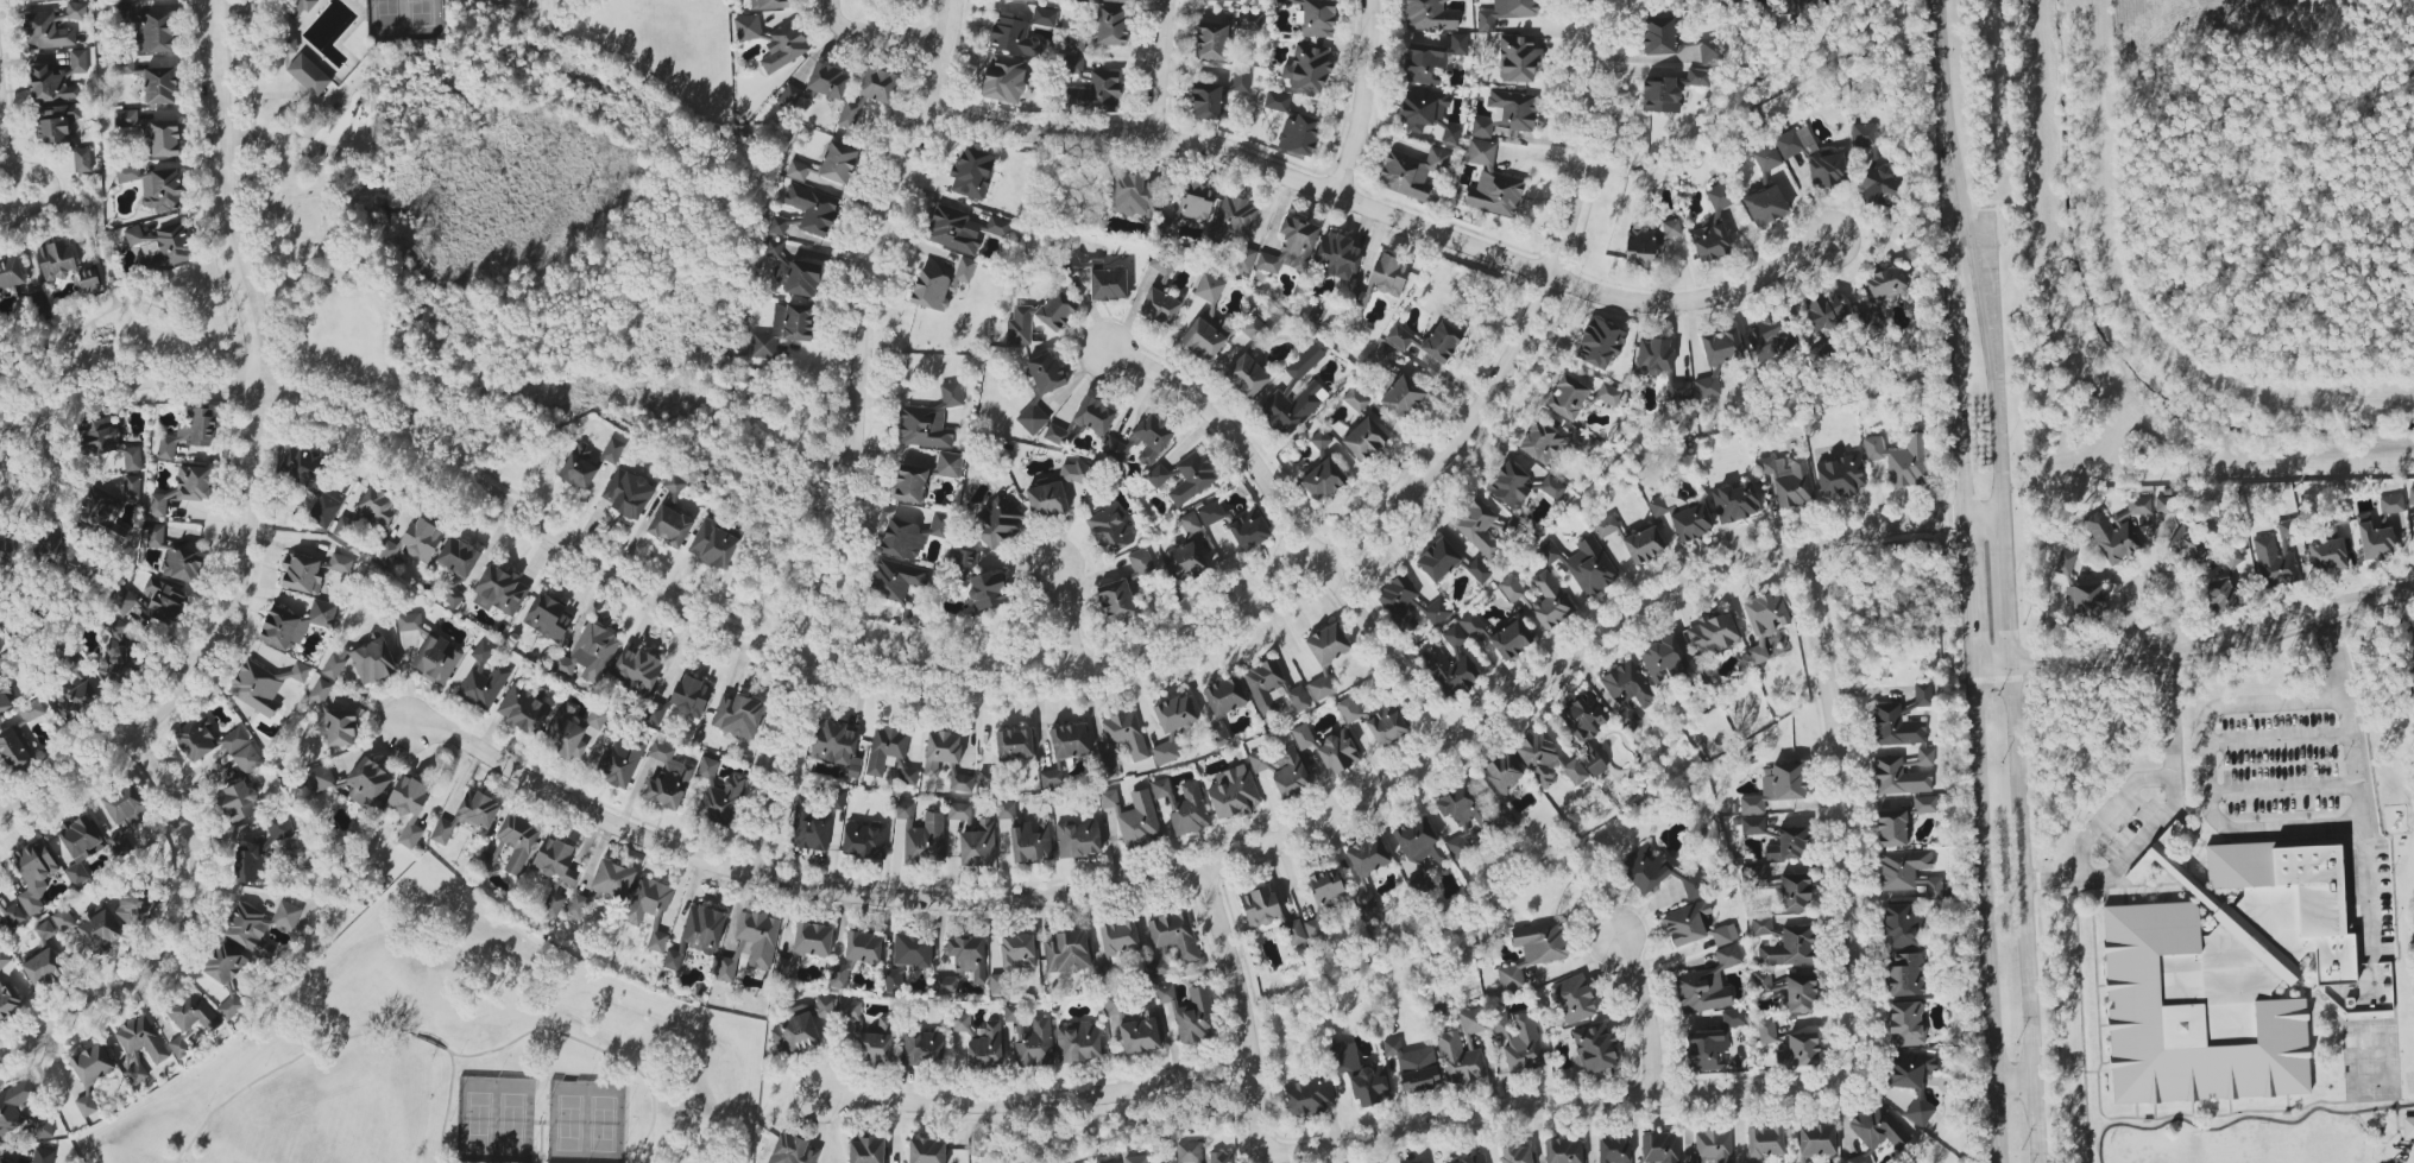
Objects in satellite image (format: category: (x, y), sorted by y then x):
building: (37, 0)
building: (1020, 0)
building: (1116, 0)
building: (1222, 0)
building: (1284, 1)
building: (769, 4)
road: (828, 5)
building: (297, 6)
building: (76, 11)
road: (297, 12)
building: (1506, 12)
building: (1430, 15)
building: (1044, 17)
park: (404, 18)
building: (1318, 18)
building: (1249, 21)
building: (1111, 25)
building: (46, 32)
building: (156, 33)
road: (877, 34)
building: (1658, 34)
building: (1013, 36)
building: (773, 42)
building: (1211, 42)
building: (1080, 43)
parking lot: (240, 50)
building: (1710, 50)
road: (1940, 55)
building: (1518, 58)
building: (1432, 59)
building: (1074, 64)
building: (1307, 68)
road: (1158, 69)
building: (310, 71)
building: (1697, 77)
building: (1003, 78)
building: (57, 80)
building: (1241, 80)
building: (827, 82)
building: (160, 84)
building: (1096, 94)
building: (1660, 94)
building: (869, 95)
road: (1362, 99)
building: (1205, 101)
building: (1277, 101)
building: (1506, 113)
building: (1427, 115)
building: (125, 118)
building: (56, 122)
building: (1864, 134)
building: (1299, 135)
building: (164, 138)
road: (11, 141)
building: (1795, 143)
building: (1766, 158)
road: (1243, 159)
building: (82, 160)
building: (838, 163)
building: (1827, 169)
building: (798, 170)
building: (972, 172)
building: (1411, 172)
road: (1946, 179)
building: (1490, 183)
building: (1877, 185)
building: (156, 187)
building: (1134, 195)
building: (1719, 197)
building: (1195, 202)
building: (1766, 206)
building: (812, 209)
road: (24, 214)
park: (304, 215)
building: (1233, 220)
road: (95, 223)
building: (777, 226)
building: (998, 226)
building: (951, 230)
building: (1710, 242)
road: (387, 244)
building: (1646, 244)
building: (162, 246)
building: (1291, 246)
park: (519, 248)
building: (1337, 255)
building: (1244, 259)
building: (56, 260)
building: (777, 260)
building: (1073, 264)
building: (11, 272)
building: (802, 278)
building: (1384, 279)
building: (90, 280)
building: (1108, 283)
building: (1884, 284)
building: (939, 285)
building: (1209, 287)
road: (1696, 298)
road: (133, 302)
road: (303, 302)
building: (1159, 306)
building: (1826, 311)
road: (1971, 314)
building: (1039, 317)
building: (1870, 325)
building: (784, 328)
building: (1254, 328)
building: (1206, 334)
building: (1399, 337)
park: (126, 339)
building: (1767, 339)
building: (1441, 342)
building: (1600, 343)
building: (1653, 355)
building: (1717, 359)
building: (1305, 361)
building: (1248, 373)
building: (1040, 390)
building: (1678, 390)
building: (1608, 393)
building: (1401, 398)
building: (1567, 398)
building: (1355, 399)
building: (1292, 407)
road: (1958, 410)
building: (929, 421)
building: (1083, 421)
building: (198, 428)
road: (849, 435)
building: (97, 437)
building: (1142, 440)
building: (1321, 440)
building: (1364, 440)
building: (1551, 442)
building: (166, 448)
building: (612, 450)
road: (416, 453)
building: (132, 459)
building: (1902, 459)
road: (251, 461)
building: (948, 464)
building: (579, 467)
building: (1074, 472)
building: (1158, 475)
building: (1840, 475)
building: (1192, 478)
building: (1323, 480)
building: (1789, 480)
building: (310, 481)
building: (194, 482)
building: (674, 485)
building: (910, 485)
building: (1509, 485)
building: (1551, 487)
building: (131, 488)
road: (45, 489)
building: (628, 493)
building: (2410, 497)
building: (1047, 500)
building: (1737, 503)
building: (158, 505)
building: (2164, 505)
building: (378, 506)
building: (1658, 506)
building: (1211, 512)
building: (101, 513)
building: (997, 522)
building: (1691, 522)
building: (1190, 523)
road: (1298, 525)
building: (670, 526)
building: (1606, 526)
building: (1479, 529)
building: (2378, 529)
building: (1109, 530)
building: (1249, 530)
building: (2117, 530)
road: (1364, 532)
building: (155, 536)
building: (912, 536)
building: (412, 543)
building: (714, 544)
building: (1644, 544)
building: (2189, 544)
building: (51, 548)
building: (8, 550)
building: (2233, 556)
building: (2276, 556)
building: (2326, 556)
building: (1186, 561)
building: (1438, 561)
building: (962, 562)
building: (1141, 562)
building: (340, 563)
building: (2065, 563)
building: (182, 564)
building: (1583, 564)
building: (1479, 570)
building: (301, 574)
road: (1842, 574)
road: (2147, 579)
park: (1876, 582)
building: (1511, 588)
building: (499, 590)
building: (988, 590)
road: (2004, 593)
building: (2223, 594)
building: (122, 600)
building: (1116, 600)
building: (2085, 600)
building: (1399, 601)
building: (1548, 602)
building: (158, 603)
building: (1436, 612)
building: (547, 618)
road: (1065, 620)
building: (1765, 620)
road: (1971, 621)
building: (409, 622)
building: (295, 624)
building: (1471, 625)
building: (115, 627)
building: (1713, 634)
building: (1511, 639)
building: (1328, 644)
road: (2196, 644)
road: (2327, 651)
building: (0, 652)
building: (590, 653)
building: (2412, 653)
building: (1663, 658)
building: (373, 659)
building: (436, 659)
building: (119, 663)
building: (335, 663)
building: (1451, 665)
building: (636, 670)
building: (2413, 675)
building: (483, 680)
building: (1321, 687)
building: (1272, 689)
building: (1627, 691)
building: (1922, 694)
building: (692, 696)
building: (1225, 696)
building: (5, 697)
building: (75, 699)
building: (524, 709)
building: (1348, 709)
building: (31, 710)
building: (655, 712)
building: (1176, 713)
building: (737, 715)
road: (2164, 715)
building: (333, 716)
building: (1386, 726)
building: (1896, 726)
building: (1586, 728)
building: (1126, 734)
building: (1303, 737)
road: (2277, 738)
building: (196, 739)
building: (234, 740)
building: (1070, 740)
building: (1014, 744)
building: (837, 745)
building: (1165, 748)
building: (13, 751)
building: (940, 751)
building: (1338, 752)
building: (890, 756)
building: (1925, 757)
building: (247, 759)
building: (1546, 759)
building: (620, 760)
building: (1109, 760)
parking lot: (2282, 764)
building: (1282, 770)
building: (1502, 773)
building: (321, 777)
building: (1898, 777)
building: (667, 778)
building: (1051, 778)
building: (367, 783)
building: (960, 783)
road: (1845, 786)
building: (1160, 788)
building: (1777, 788)
road: (2282, 788)
building: (1233, 792)
building: (719, 795)
building: (240, 802)
building: (125, 804)
building: (1924, 804)
building: (409, 807)
building: (1461, 807)
building: (1187, 809)
building: (1007, 810)
building: (959, 811)
road: (2106, 813)
building: (469, 814)
building: (1134, 817)
building: (808, 826)
building: (1752, 826)
building: (279, 827)
building: (1892, 828)
road: (2235, 832)
building: (922, 835)
building: (864, 839)
building: (1078, 839)
building: (518, 841)
building: (1418, 841)
road: (2137, 841)
building: (1030, 842)
building: (1460, 843)
building: (78, 845)
building: (978, 845)
building: (1789, 845)
building: (1368, 855)
road: (1227, 857)
building: (486, 860)
building: (555, 860)
building: (251, 864)
building: (1645, 868)
building: (1908, 872)
building: (34, 874)
building: (1754, 878)
building: (612, 879)
road: (2050, 883)
building: (1693, 886)
road: (2366, 886)
building: (1326, 887)
building: (1795, 892)
building: (648, 900)
building: (0, 902)
building: (1364, 902)
building: (554, 905)
building: (575, 905)
building: (134, 906)
building: (1260, 906)
building: (13, 915)
building: (286, 915)
road: (2023, 916)
road: (1987, 917)
building: (62, 918)
building: (1687, 923)
building: (1902, 925)
building: (1761, 927)
building: (1318, 928)
building: (250, 929)
building: (701, 929)
building: (45, 930)
building: (99, 930)
building: (1294, 933)
road: (179, 934)
building: (1723, 934)
building: (1174, 935)
building: (758, 937)
building: (1118, 937)
building: (813, 938)
building: (656, 941)
building: (1540, 942)
building: (863, 947)
building: (1789, 948)
building: (913, 950)
building: (1017, 952)
building: (1067, 952)
building: (4, 959)
building: (673, 960)
building: (963, 965)
building: (43, 968)
building: (1156, 968)
building: (726, 969)
building: (1904, 974)
building: (838, 975)
building: (226, 976)
building: (1509, 976)
building: (893, 980)
building: (2224, 981)
building: (1767, 982)
building: (998, 984)
building: (1708, 985)
building: (1801, 992)
building: (1574, 999)
building: (8, 1000)
building: (1110, 1004)
road: (1651, 1010)
road: (1243, 1011)
building: (1190, 1013)
building: (1733, 1018)
building: (190, 1020)
building: (1473, 1020)
building: (962, 1023)
building: (1906, 1024)
building: (801, 1026)
building: (1140, 1034)
building: (869, 1035)
building: (1027, 1039)
building: (1519, 1039)
road: (429, 1042)
building: (1078, 1042)
building: (138, 1044)
building: (1790, 1045)
road: (592, 1048)
building: (922, 1048)
building: (987, 1048)
building: (1595, 1048)
building: (1706, 1050)
park: (452, 1056)
building: (1343, 1058)
building: (1460, 1060)
building: (92, 1064)
road: (279, 1067)
building: (1413, 1067)
building: (1912, 1082)
road: (2015, 1085)
building: (1370, 1086)
building: (1310, 1096)
road: (1576, 1096)
road: (1035, 1100)
building: (14, 1104)
building: (86, 1105)
road: (447, 1105)
park: (493, 1118)
road: (2240, 1119)
park: (585, 1121)
road: (538, 1125)
building: (43, 1127)
building: (1878, 1127)
building: (2408, 1127)
building: (1817, 1139)
building: (1765, 1142)
road: (538, 1144)
building: (1713, 1146)
building: (1659, 1148)
building: (866, 1149)
building: (1613, 1149)
building: (793, 1150)
building: (927, 1150)
building: (1563, 1151)
building: (43, 1155)
building: (1517, 1155)
building: (1219, 1157)
building: (1860, 1158)
building: (1136, 1159)
building: (1469, 1159)
building: (4, 1161)
building: (1111, 1161)

